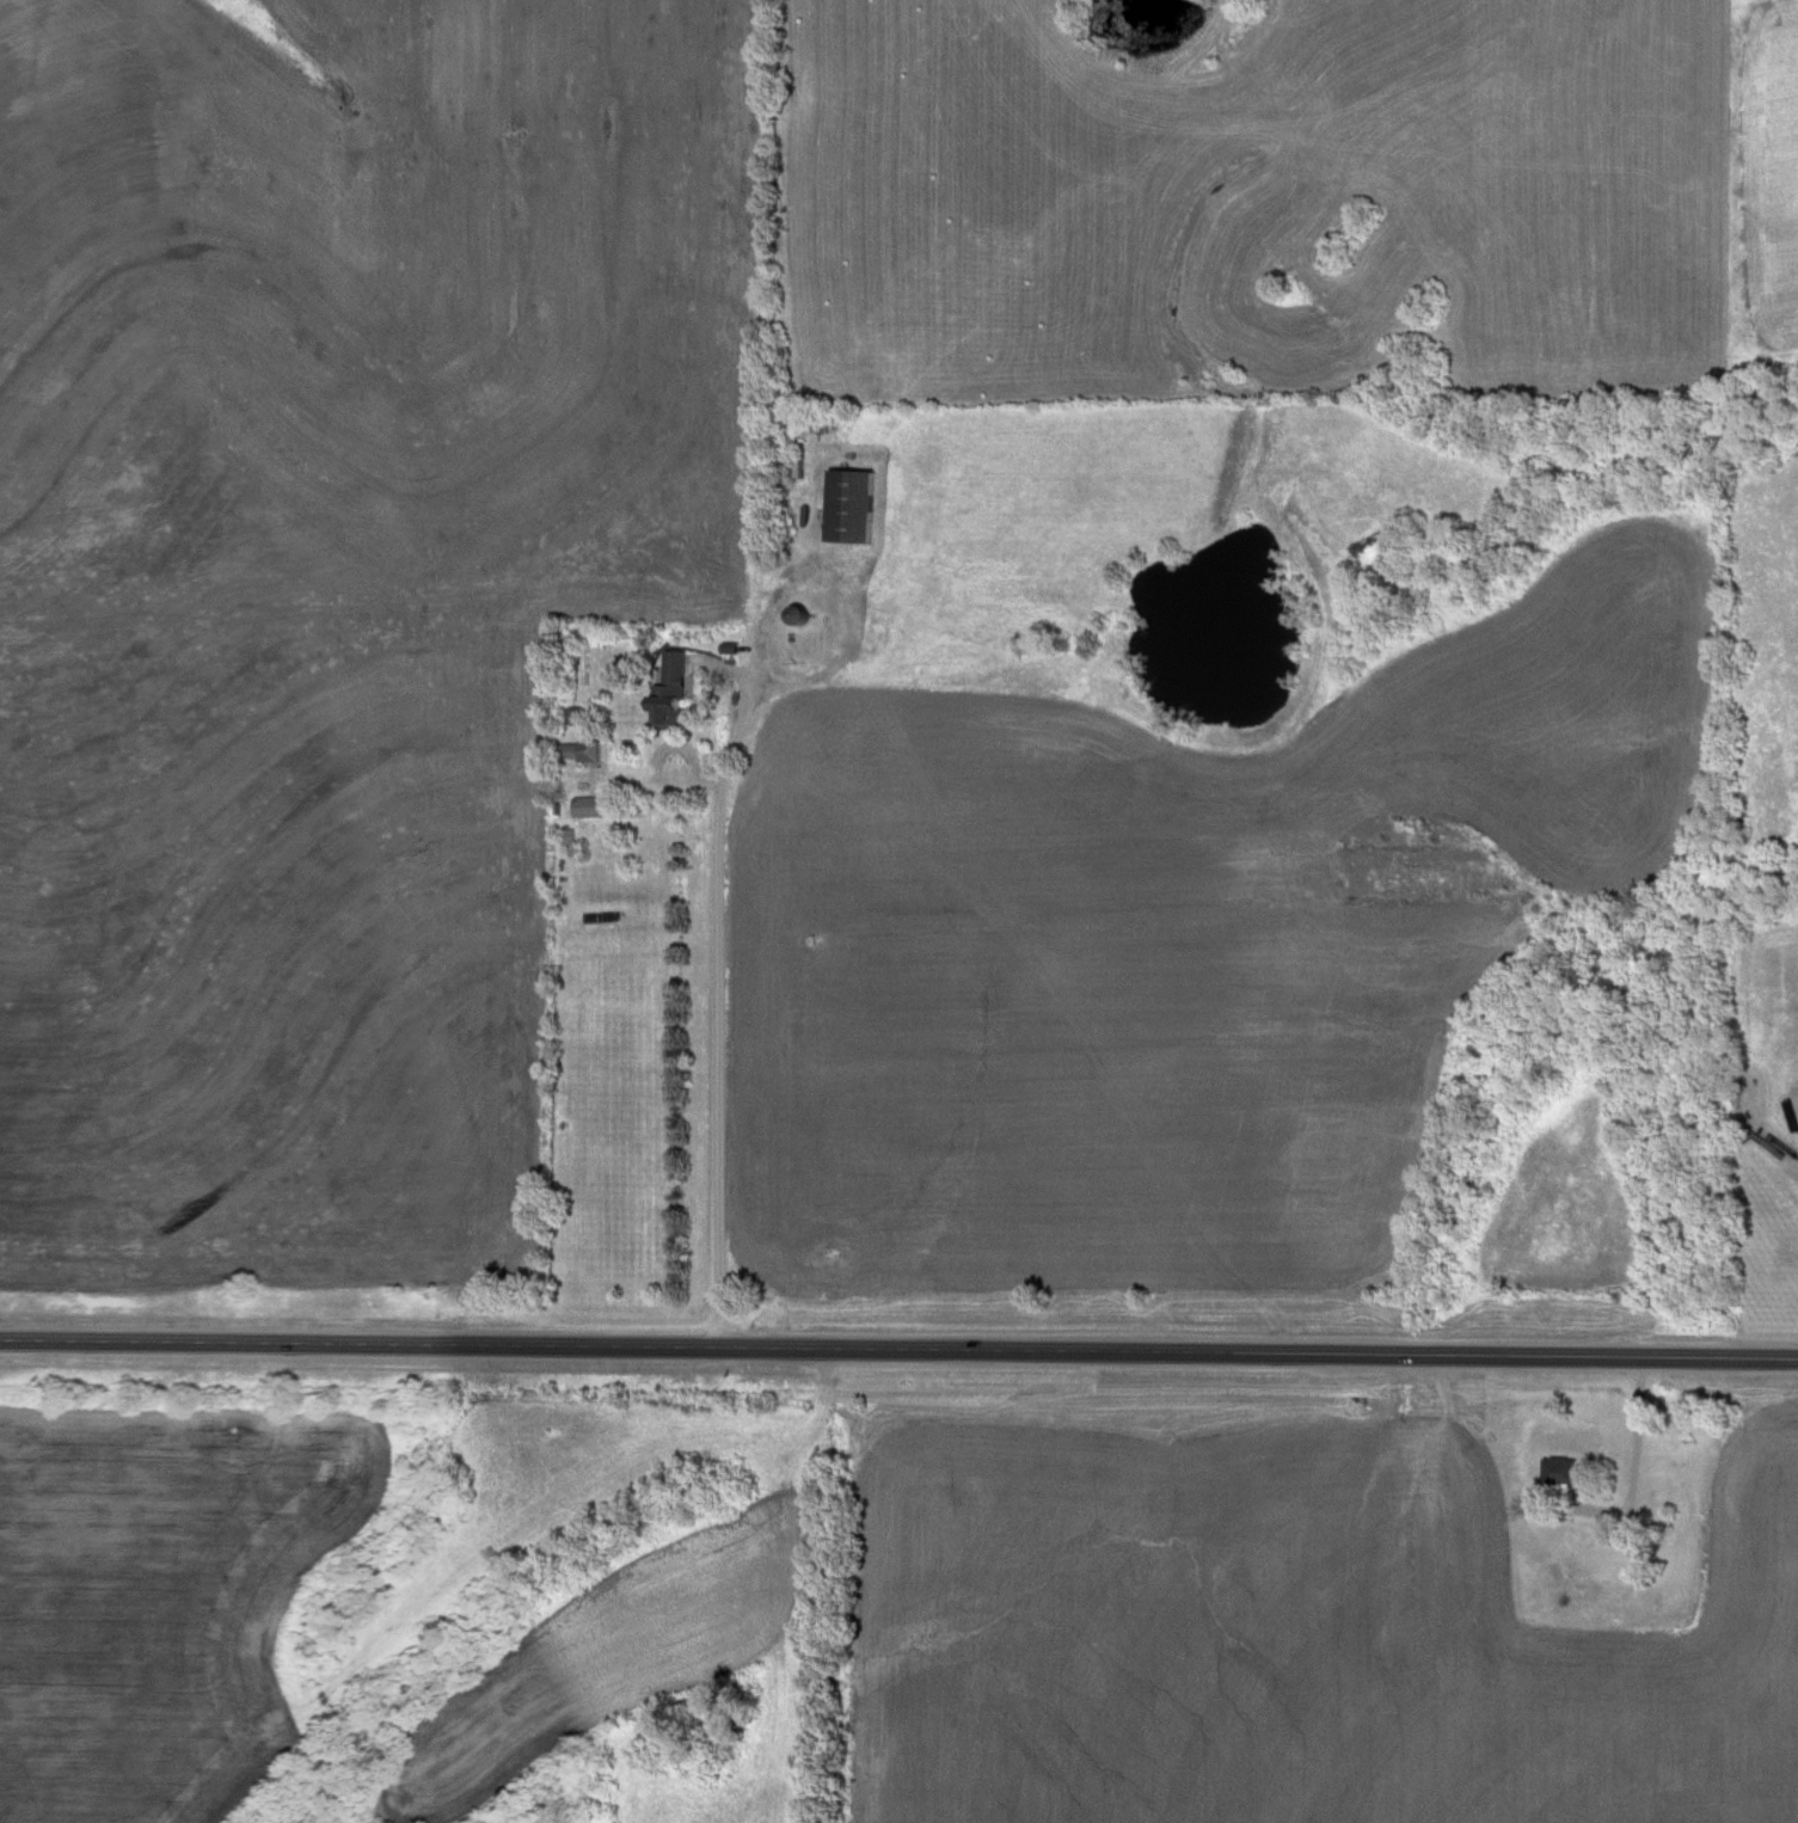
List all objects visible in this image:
building: (1135, 7)
building: (854, 509)
building: (800, 616)
building: (676, 694)
building: (577, 719)
road: (671, 745)
building: (581, 754)
road: (652, 785)
building: (589, 809)
road: (716, 977)
road: (898, 1346)
road: (1633, 1444)
building: (1559, 1472)
building: (1656, 1496)

